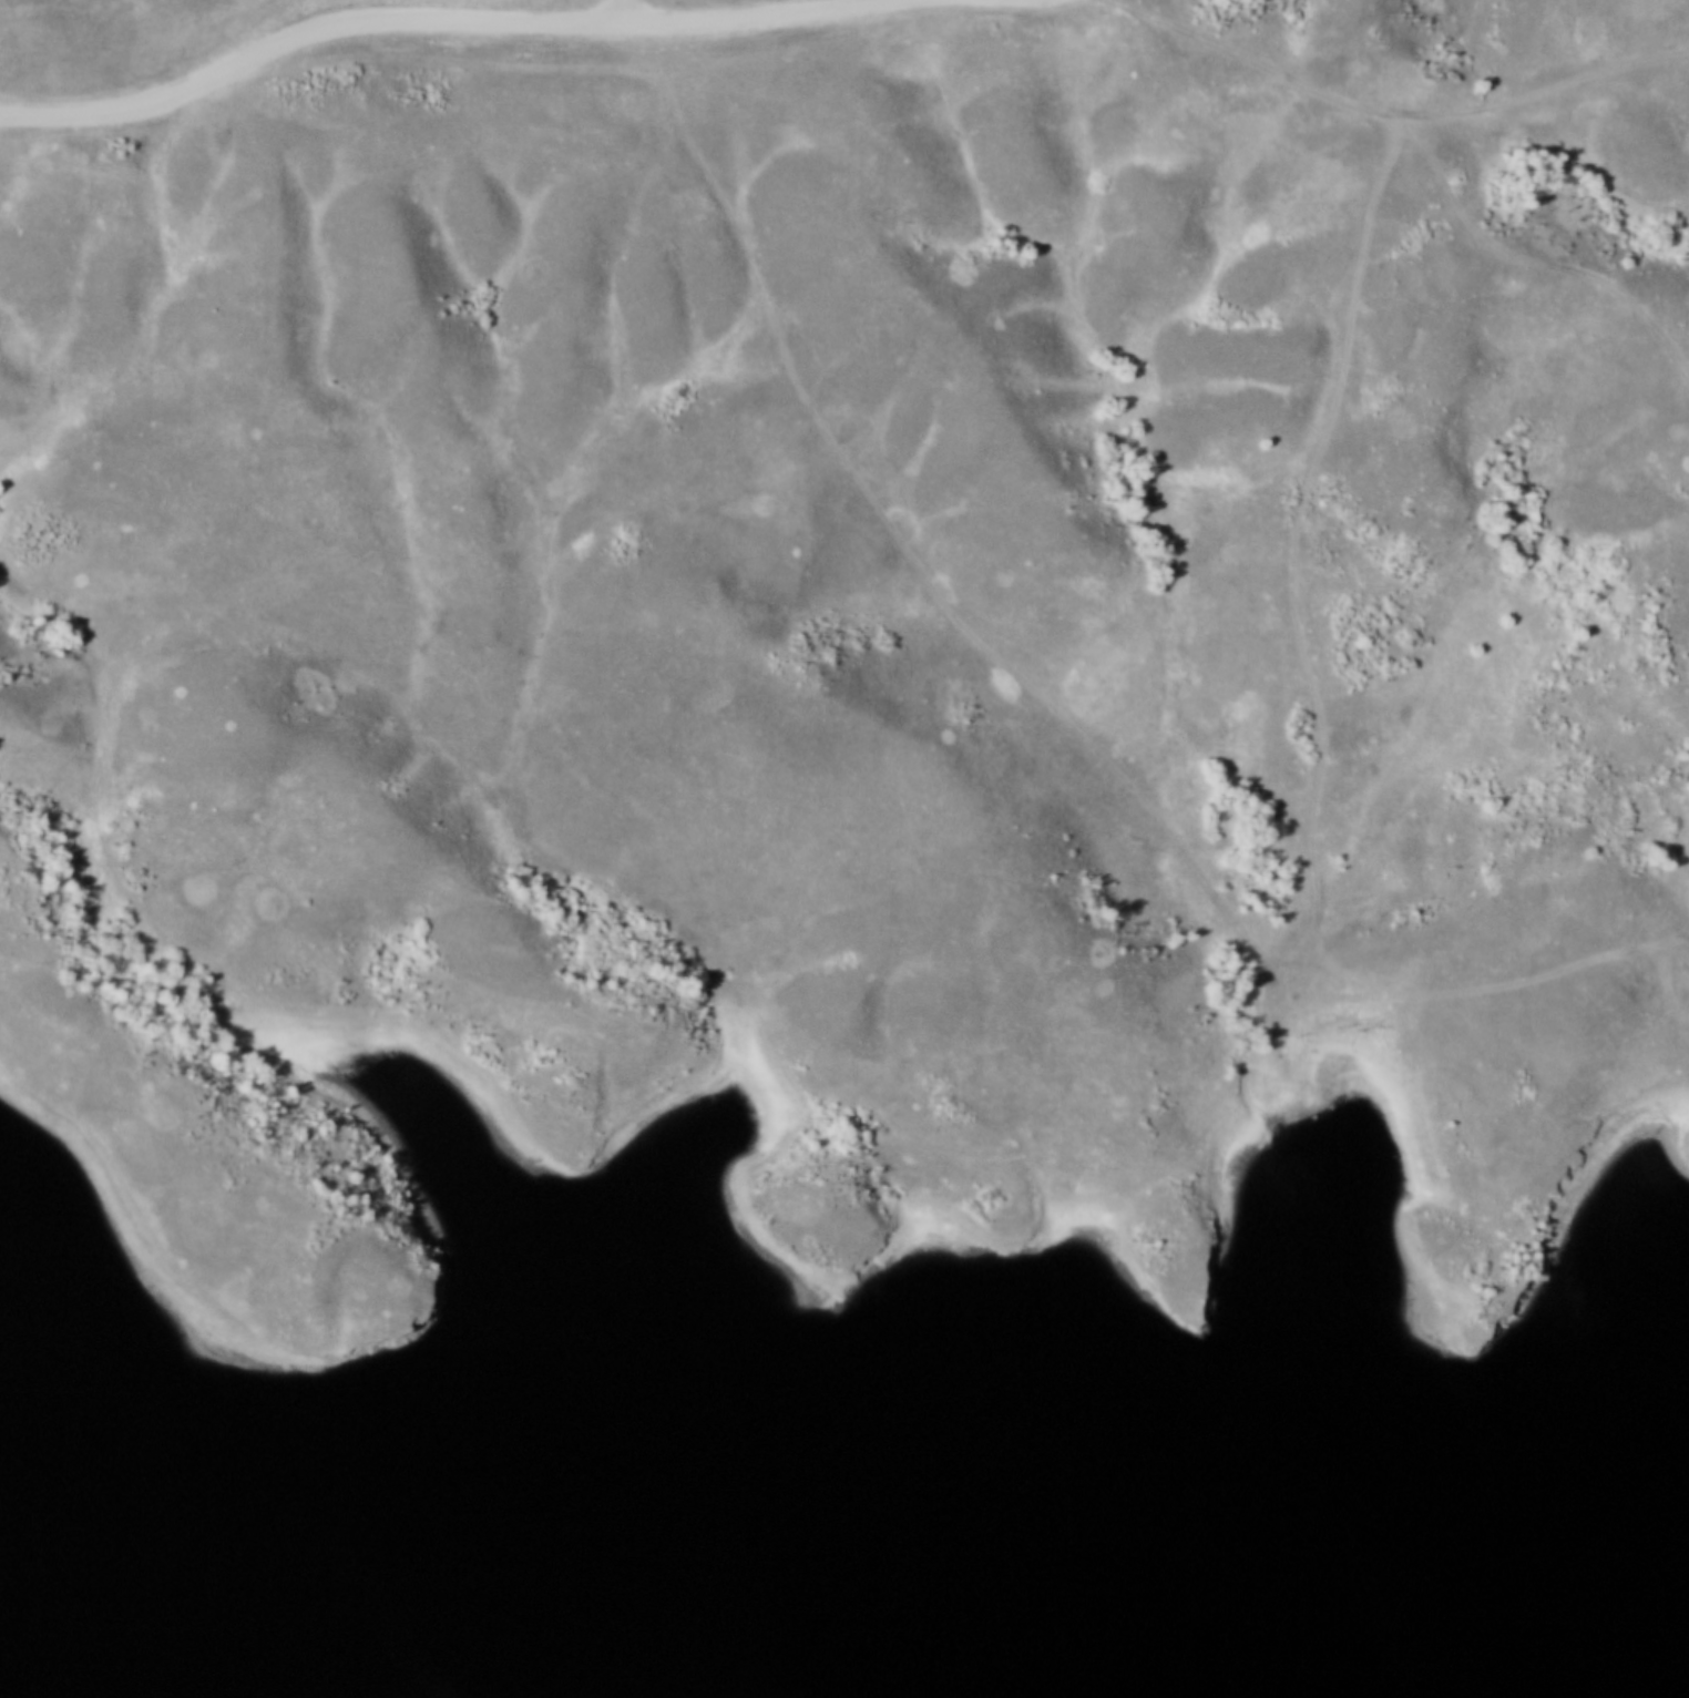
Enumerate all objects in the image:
road: (424, 14)
building: (842, 24)
road: (1389, 115)
road: (1522, 264)

